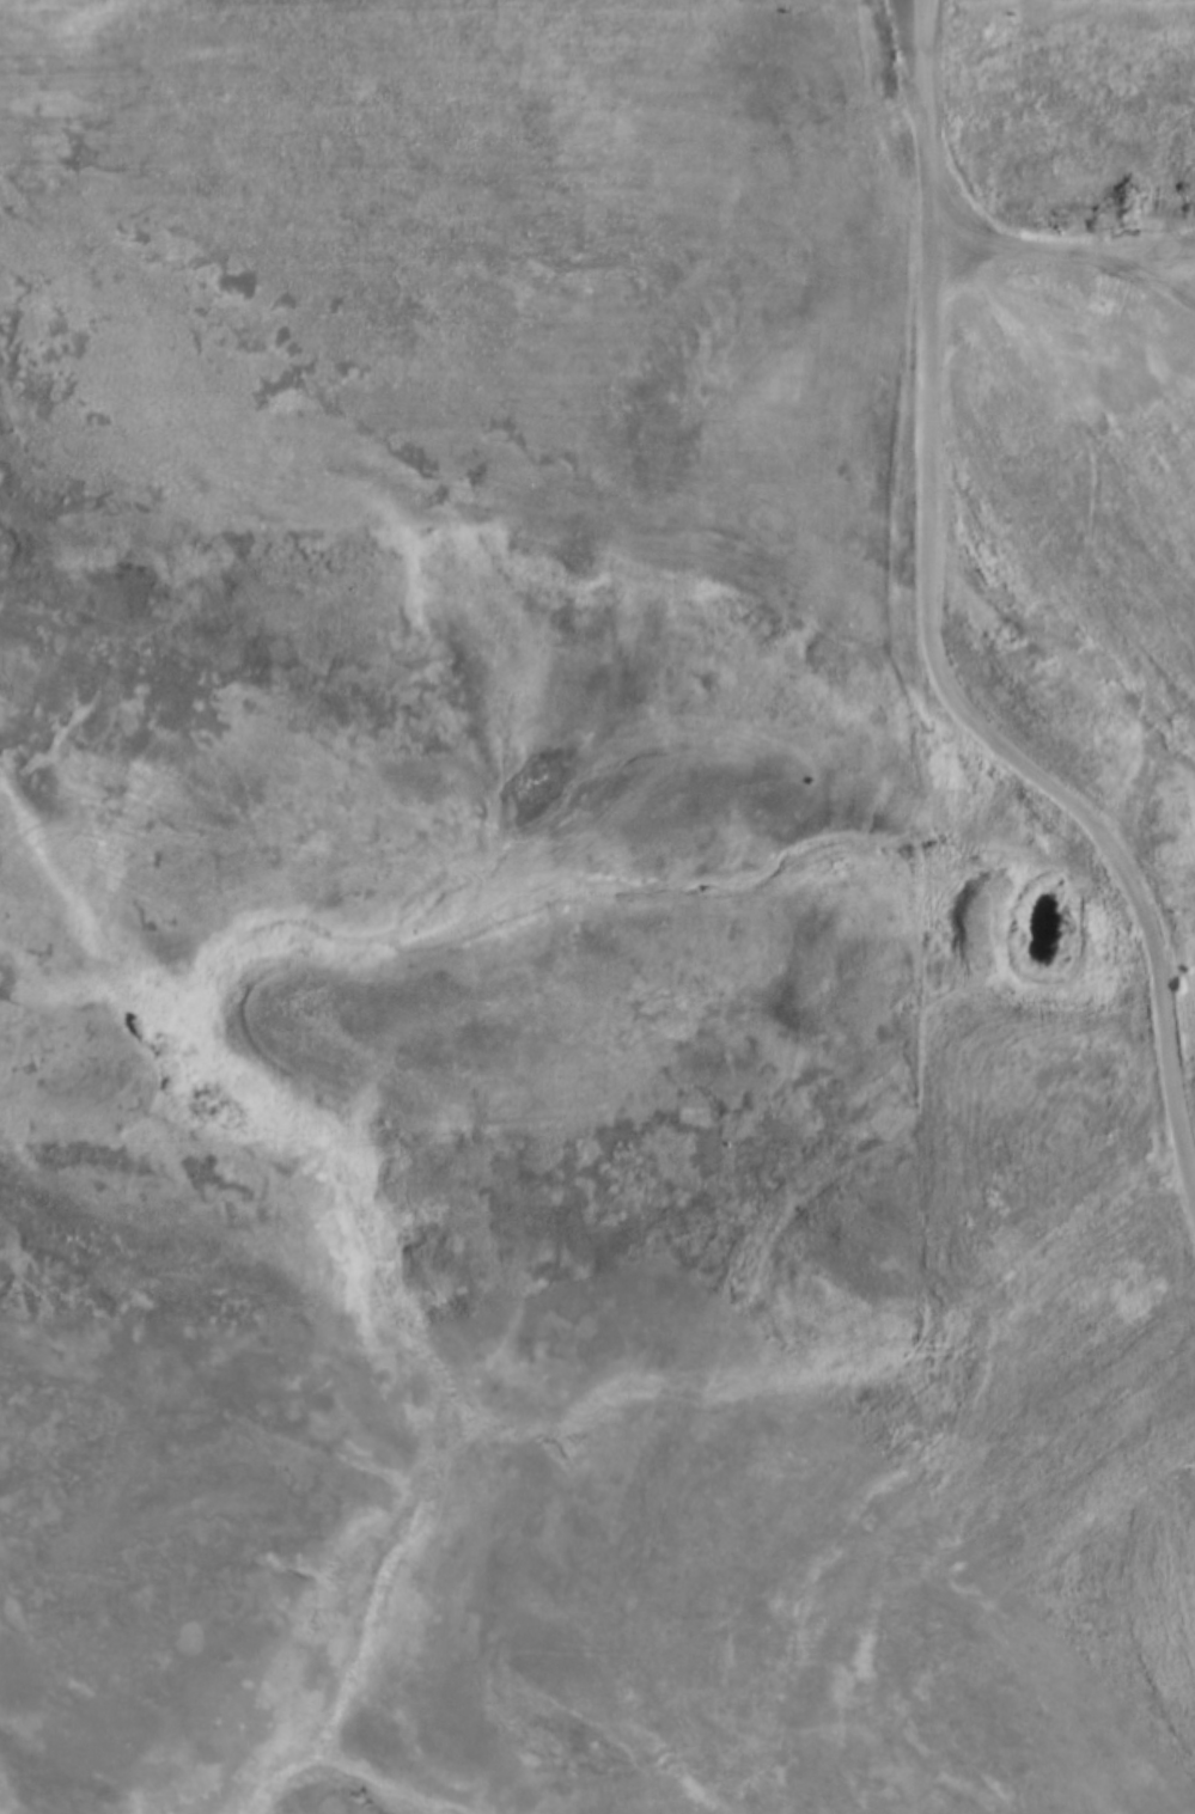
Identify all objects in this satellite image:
quarry: (1146, 343)
road: (1153, 967)
quarry: (1002, 1577)

